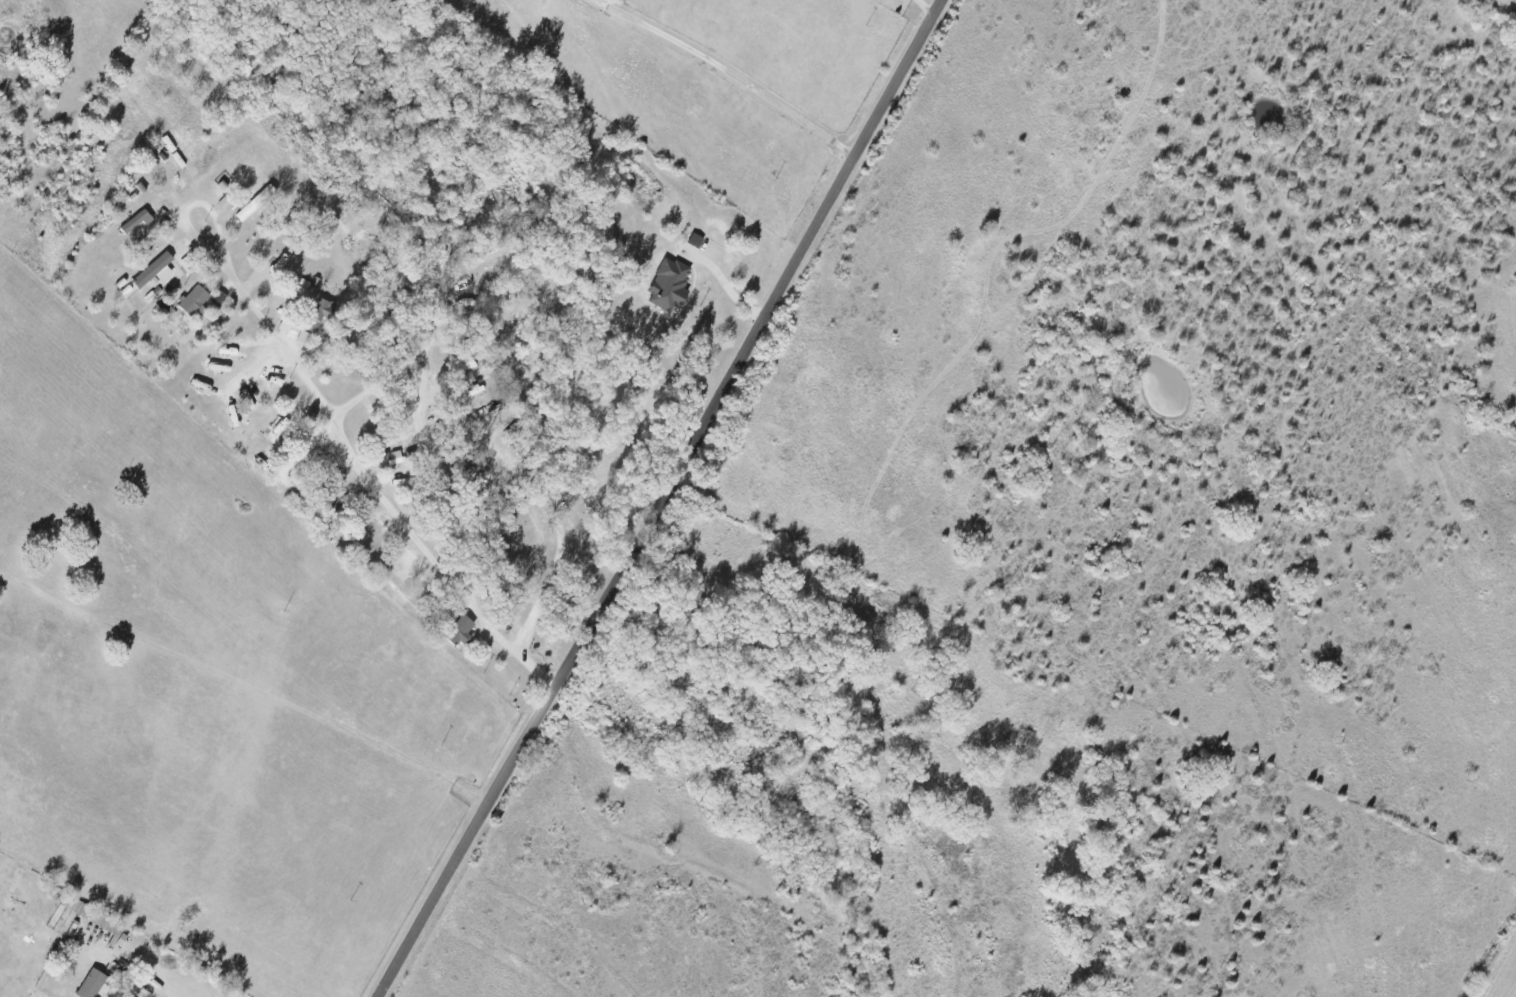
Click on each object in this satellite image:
road: (1507, 4)
road: (924, 6)
road: (729, 73)
building: (255, 202)
building: (136, 221)
building: (153, 271)
road: (723, 281)
building: (669, 285)
building: (193, 299)
building: (322, 311)
building: (304, 337)
road: (293, 362)
building: (281, 427)
building: (395, 457)
road: (523, 476)
road: (448, 499)
road: (662, 499)
building: (460, 629)
building: (91, 983)
road: (148, 989)

